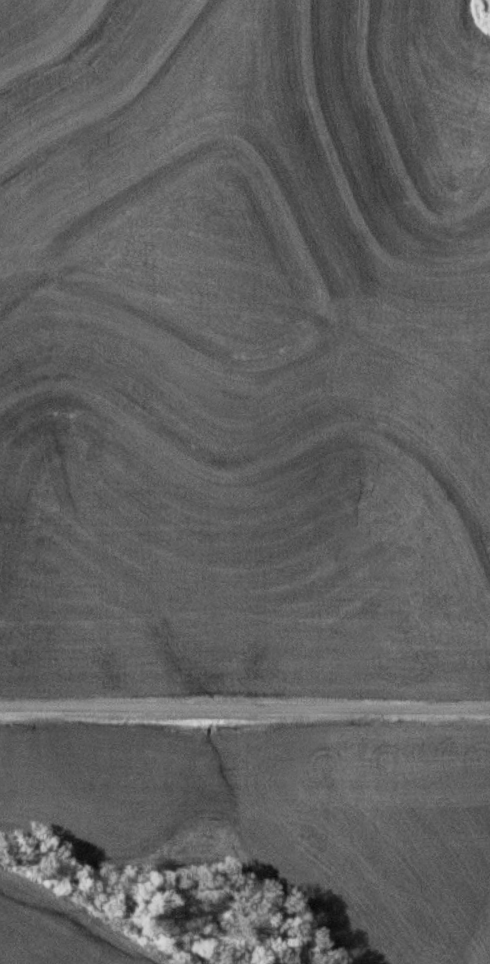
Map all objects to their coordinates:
road: (245, 707)

